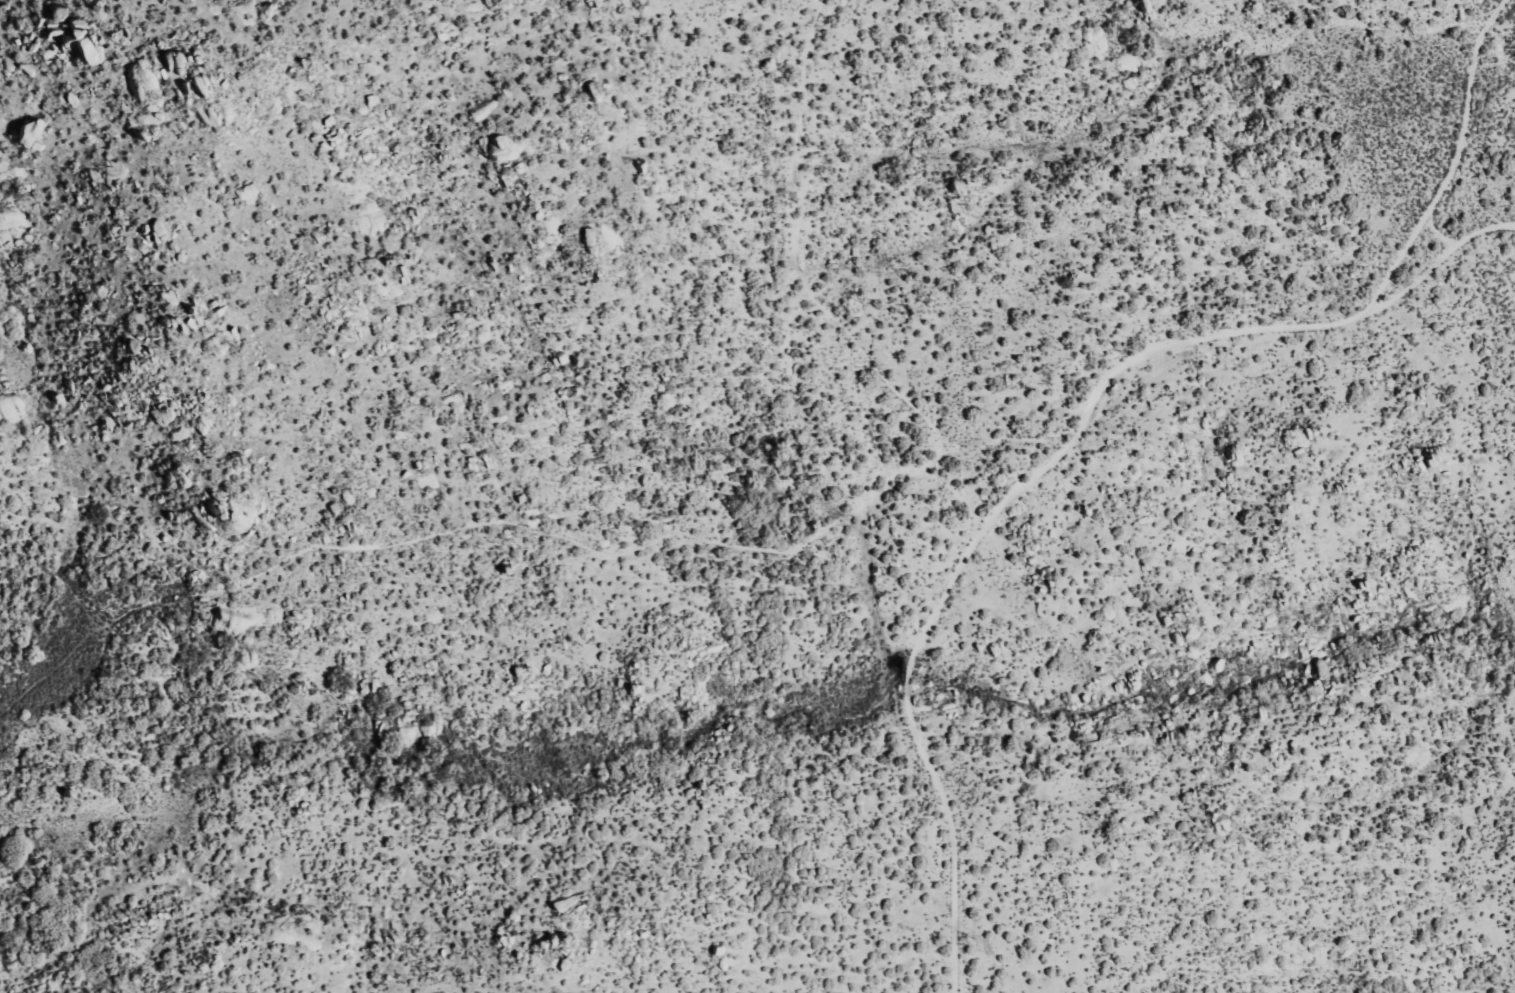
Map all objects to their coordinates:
building: (187, 64)
building: (148, 83)
building: (214, 87)
building: (591, 92)
building: (34, 137)
building: (498, 142)
building: (250, 194)
building: (218, 346)

